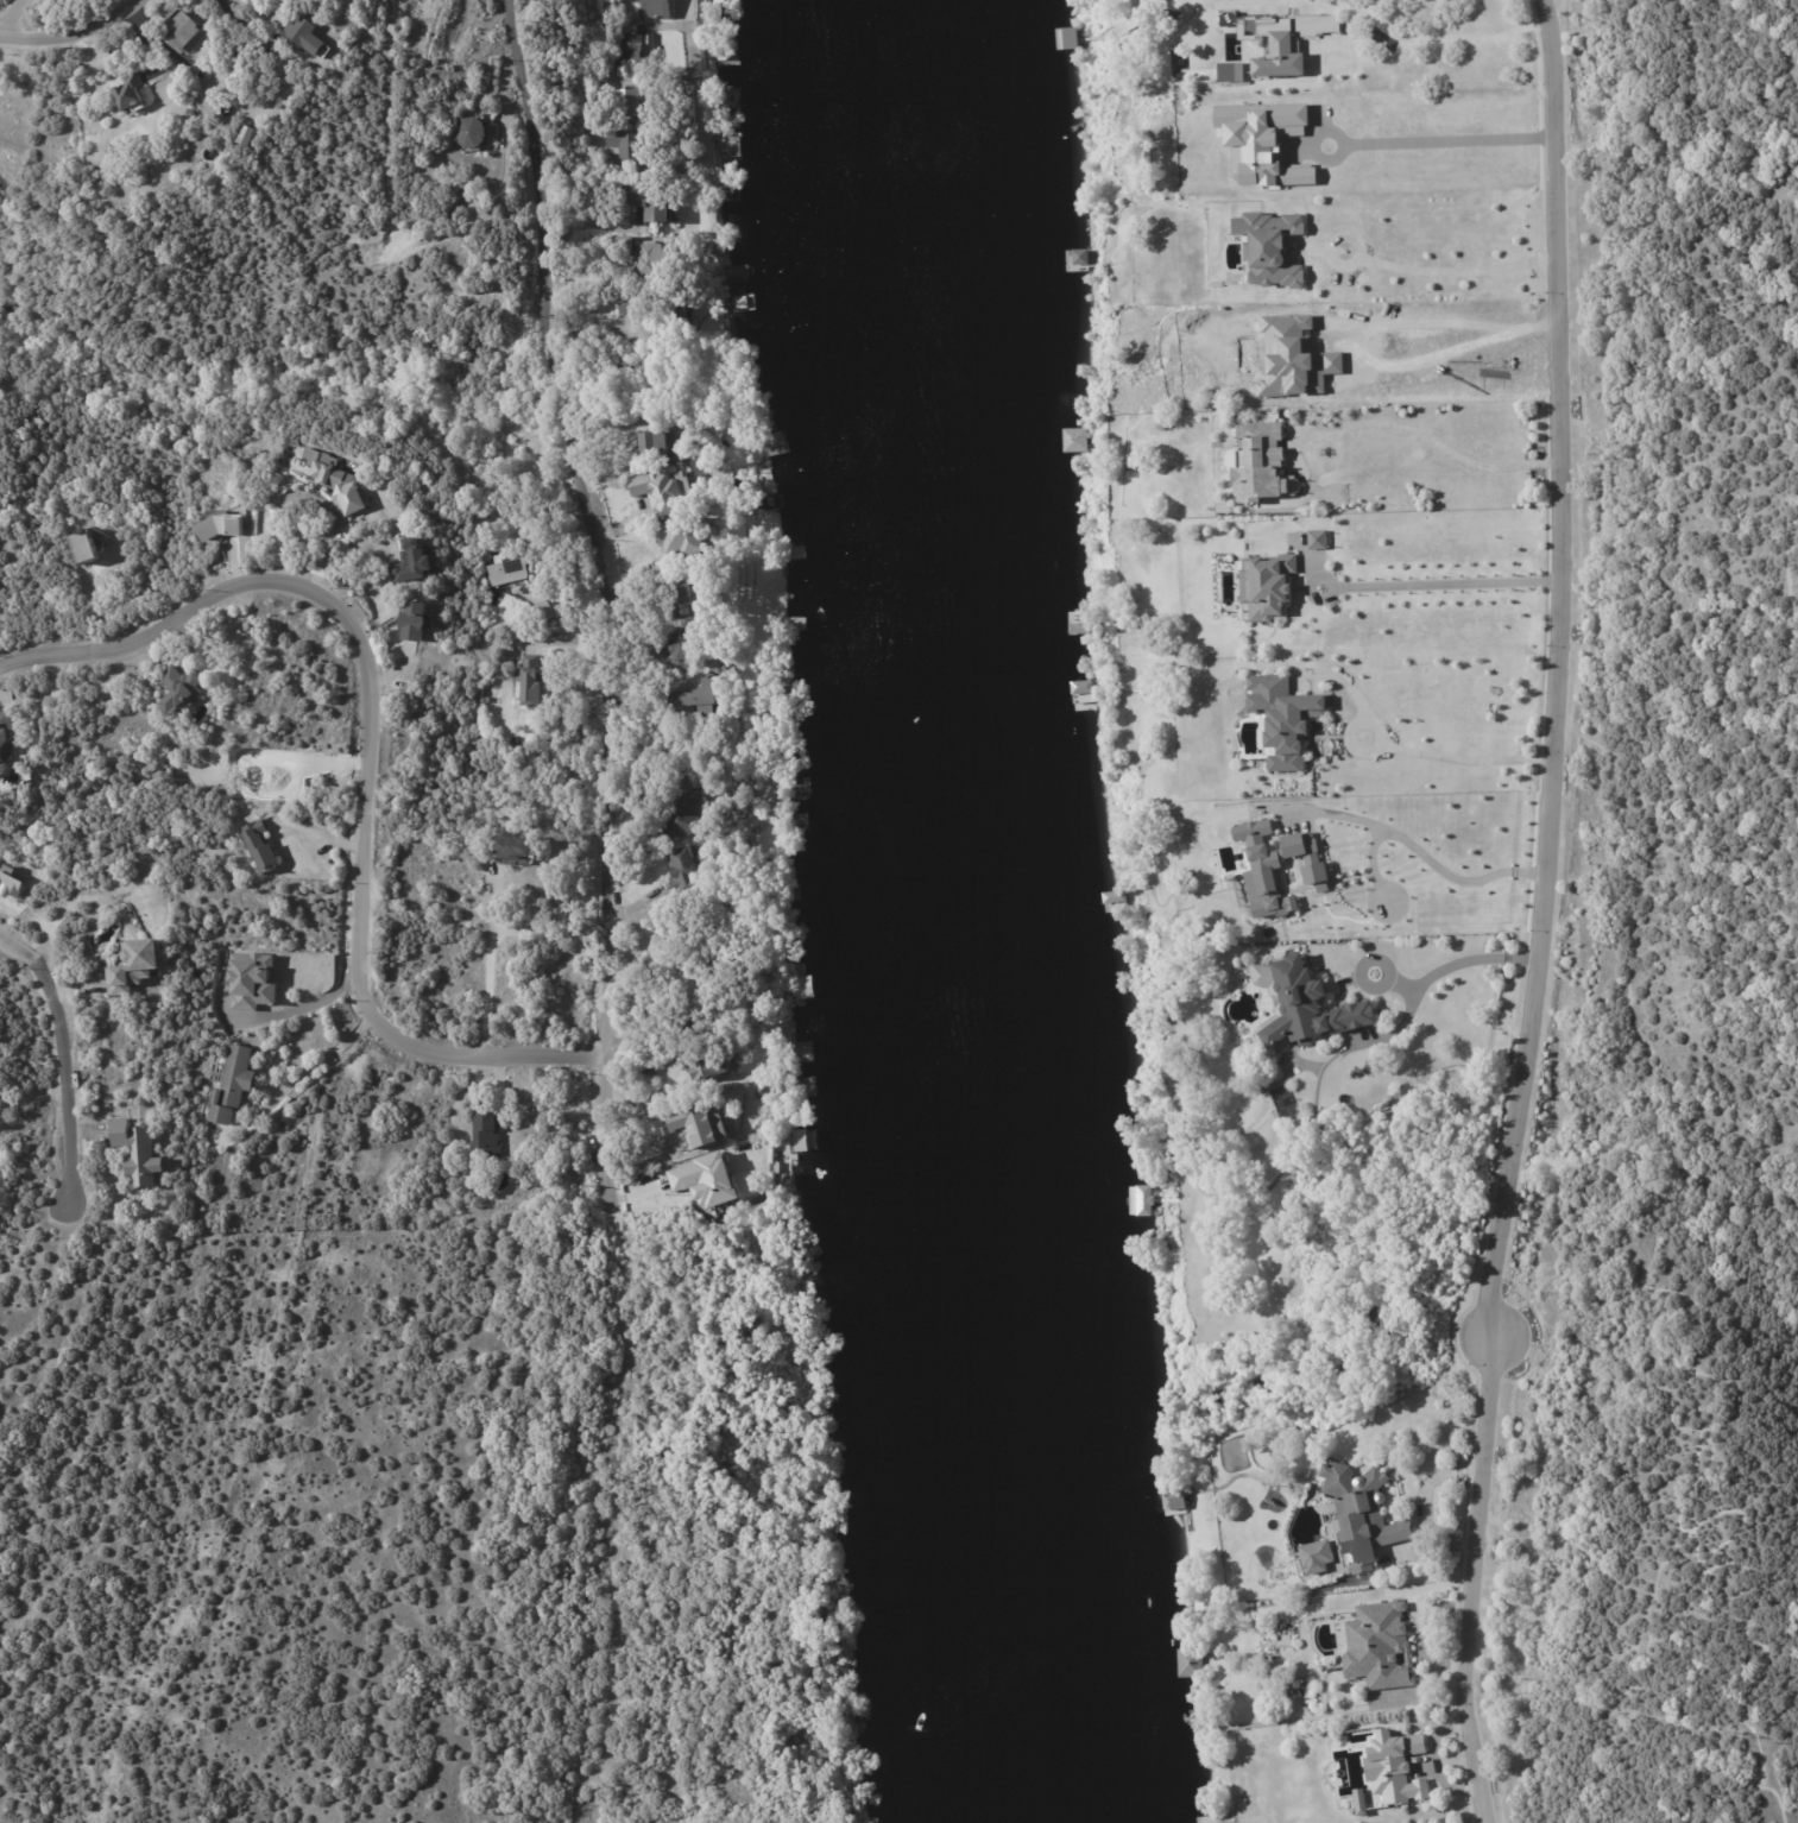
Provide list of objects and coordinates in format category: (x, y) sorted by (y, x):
building: (654, 8)
road: (7, 12)
road: (242, 20)
road: (72, 24)
building: (178, 29)
road: (1417, 37)
building: (302, 38)
building: (1282, 39)
building: (631, 48)
building: (597, 81)
building: (132, 96)
building: (633, 103)
building: (190, 114)
building: (472, 133)
building: (244, 134)
road: (1453, 134)
building: (1262, 140)
building: (627, 145)
building: (650, 203)
building: (448, 215)
road: (1352, 240)
building: (625, 246)
building: (1268, 247)
road: (1308, 250)
building: (657, 259)
road: (1456, 270)
building: (660, 307)
road: (1468, 341)
road: (1396, 424)
building: (1073, 440)
building: (655, 441)
building: (1264, 466)
building: (335, 480)
building: (667, 487)
building: (221, 528)
building: (1316, 538)
building: (687, 543)
building: (83, 547)
building: (414, 564)
building: (507, 573)
building: (1264, 585)
road: (1441, 585)
road: (595, 599)
building: (688, 601)
building: (545, 612)
building: (415, 623)
building: (689, 654)
road: (1559, 673)
road: (1337, 680)
building: (532, 685)
building: (1081, 686)
building: (181, 690)
building: (701, 700)
building: (1281, 718)
building: (6, 739)
road: (372, 744)
road: (1357, 752)
road: (1465, 758)
building: (681, 820)
building: (260, 846)
building: (513, 853)
road: (1431, 859)
building: (1275, 866)
building: (683, 869)
building: (11, 885)
river: (1001, 913)
building: (667, 915)
road: (496, 936)
road: (1457, 966)
building: (137, 967)
building: (251, 980)
building: (802, 986)
road: (318, 1004)
building: (1301, 1004)
road: (69, 1065)
building: (650, 1068)
building: (711, 1068)
road: (307, 1070)
building: (234, 1087)
building: (684, 1123)
building: (487, 1136)
building: (799, 1140)
building: (138, 1156)
building: (704, 1179)
building: (1142, 1199)
building: (1176, 1497)
building: (1364, 1514)
building: (1316, 1556)
road: (1480, 1583)
building: (1377, 1646)
building: (1396, 1768)
building: (1358, 1800)
building: (1213, 1822)

